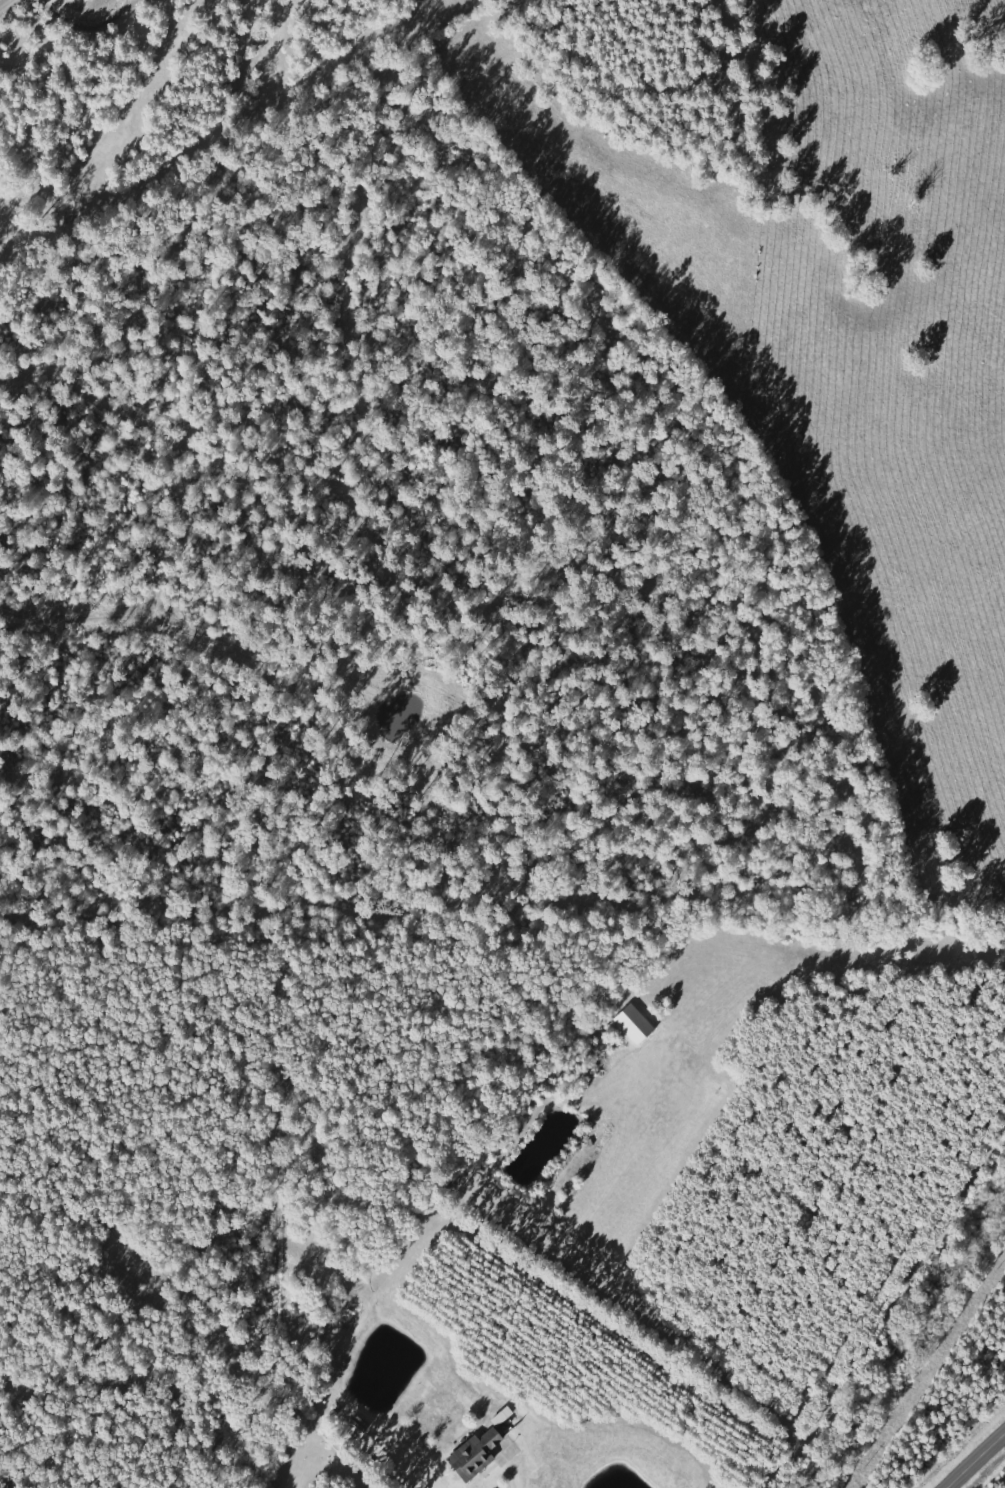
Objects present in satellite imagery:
building: (636, 1024)
building: (505, 1416)
building: (477, 1456)
road: (975, 1459)

